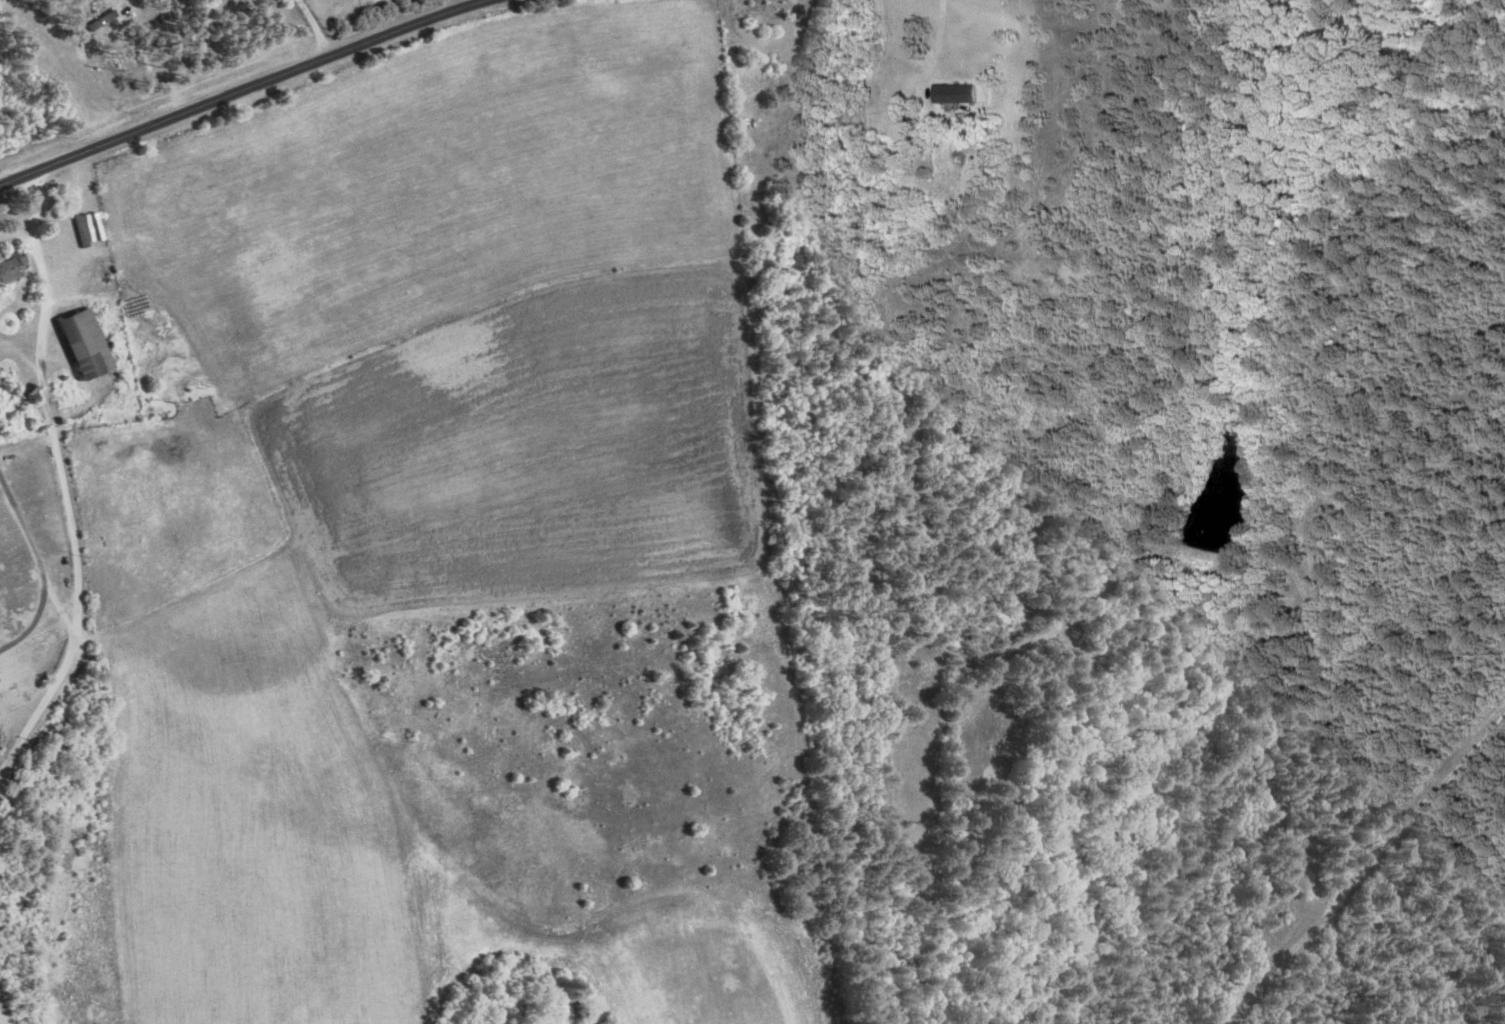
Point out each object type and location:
road: (243, 89)
building: (955, 92)
building: (10, 266)
building: (82, 343)

